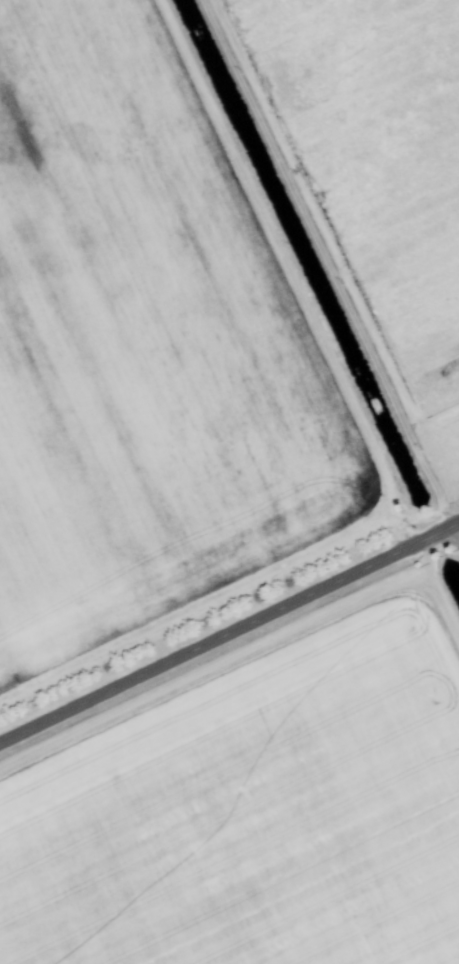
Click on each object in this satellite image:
road: (229, 633)

